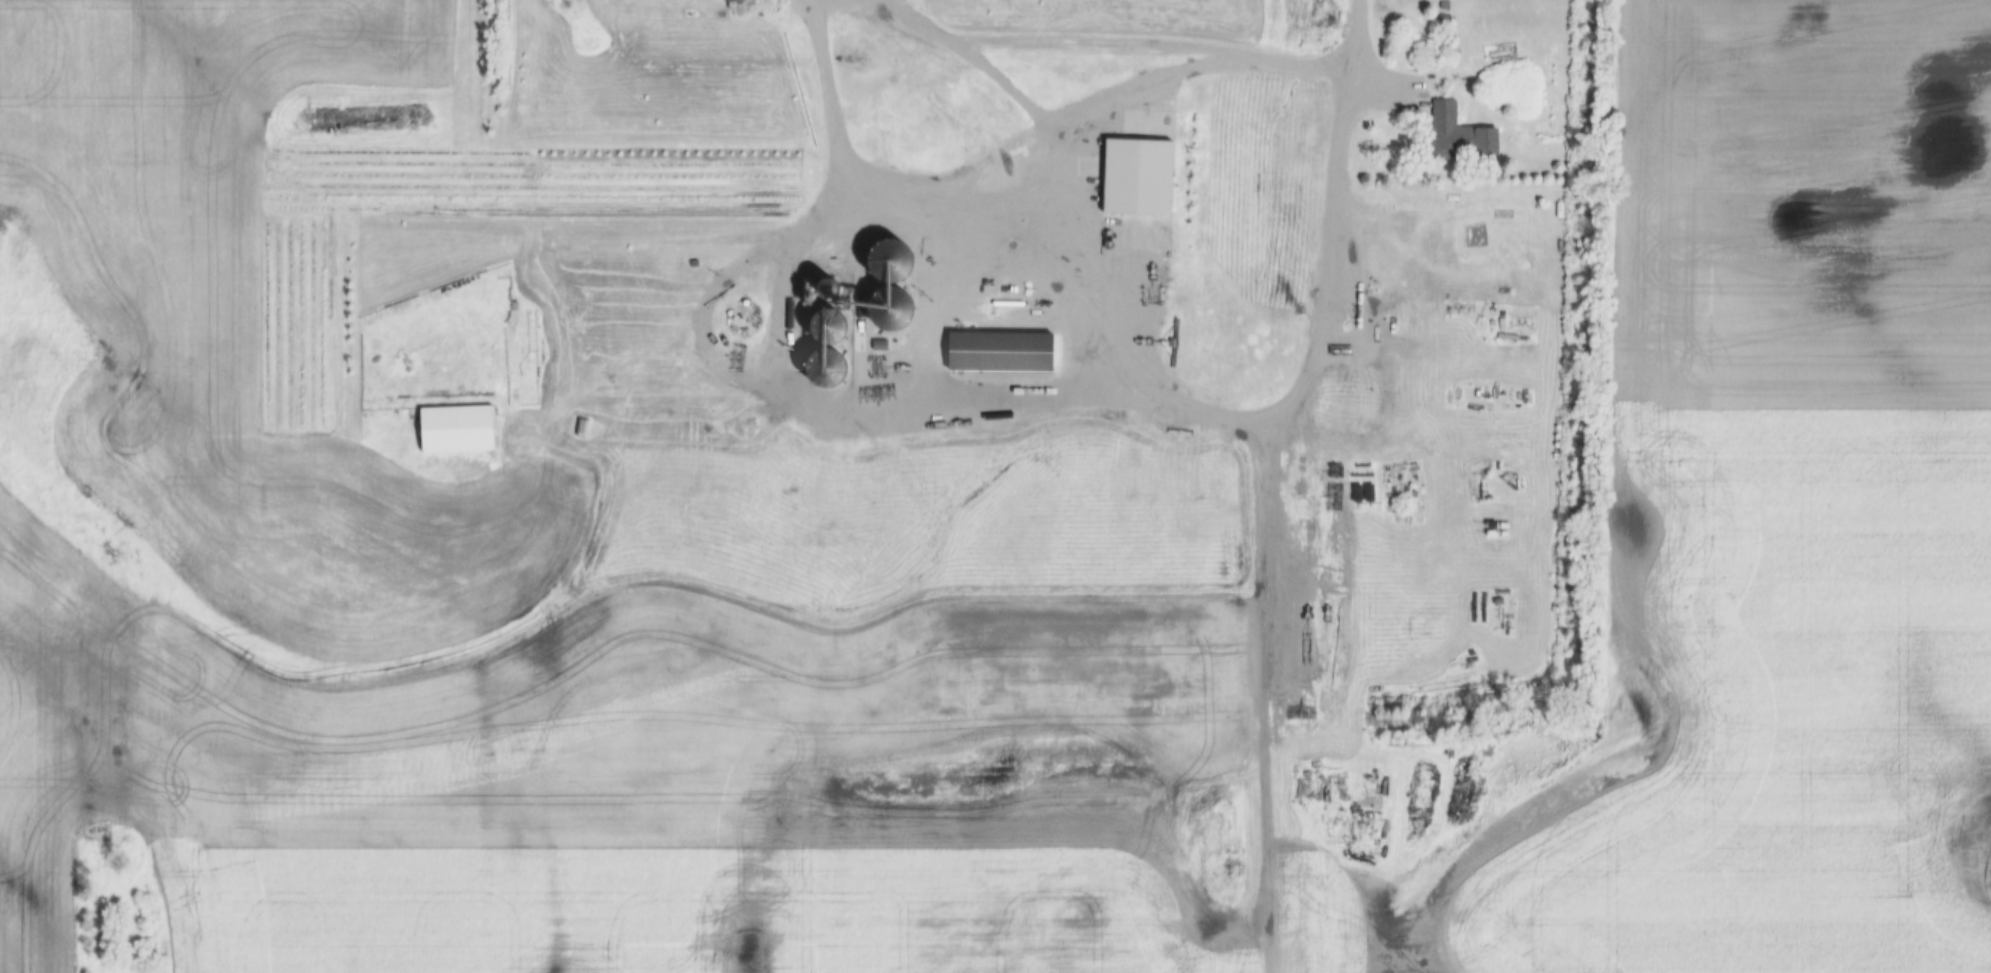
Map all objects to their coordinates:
building: (689, 16)
building: (1444, 20)
road: (1086, 106)
building: (1457, 136)
building: (692, 254)
building: (890, 284)
building: (828, 291)
building: (743, 321)
building: (828, 331)
building: (1000, 354)
building: (829, 382)
road: (1042, 390)
building: (456, 432)
building: (1407, 530)
building: (1406, 543)

